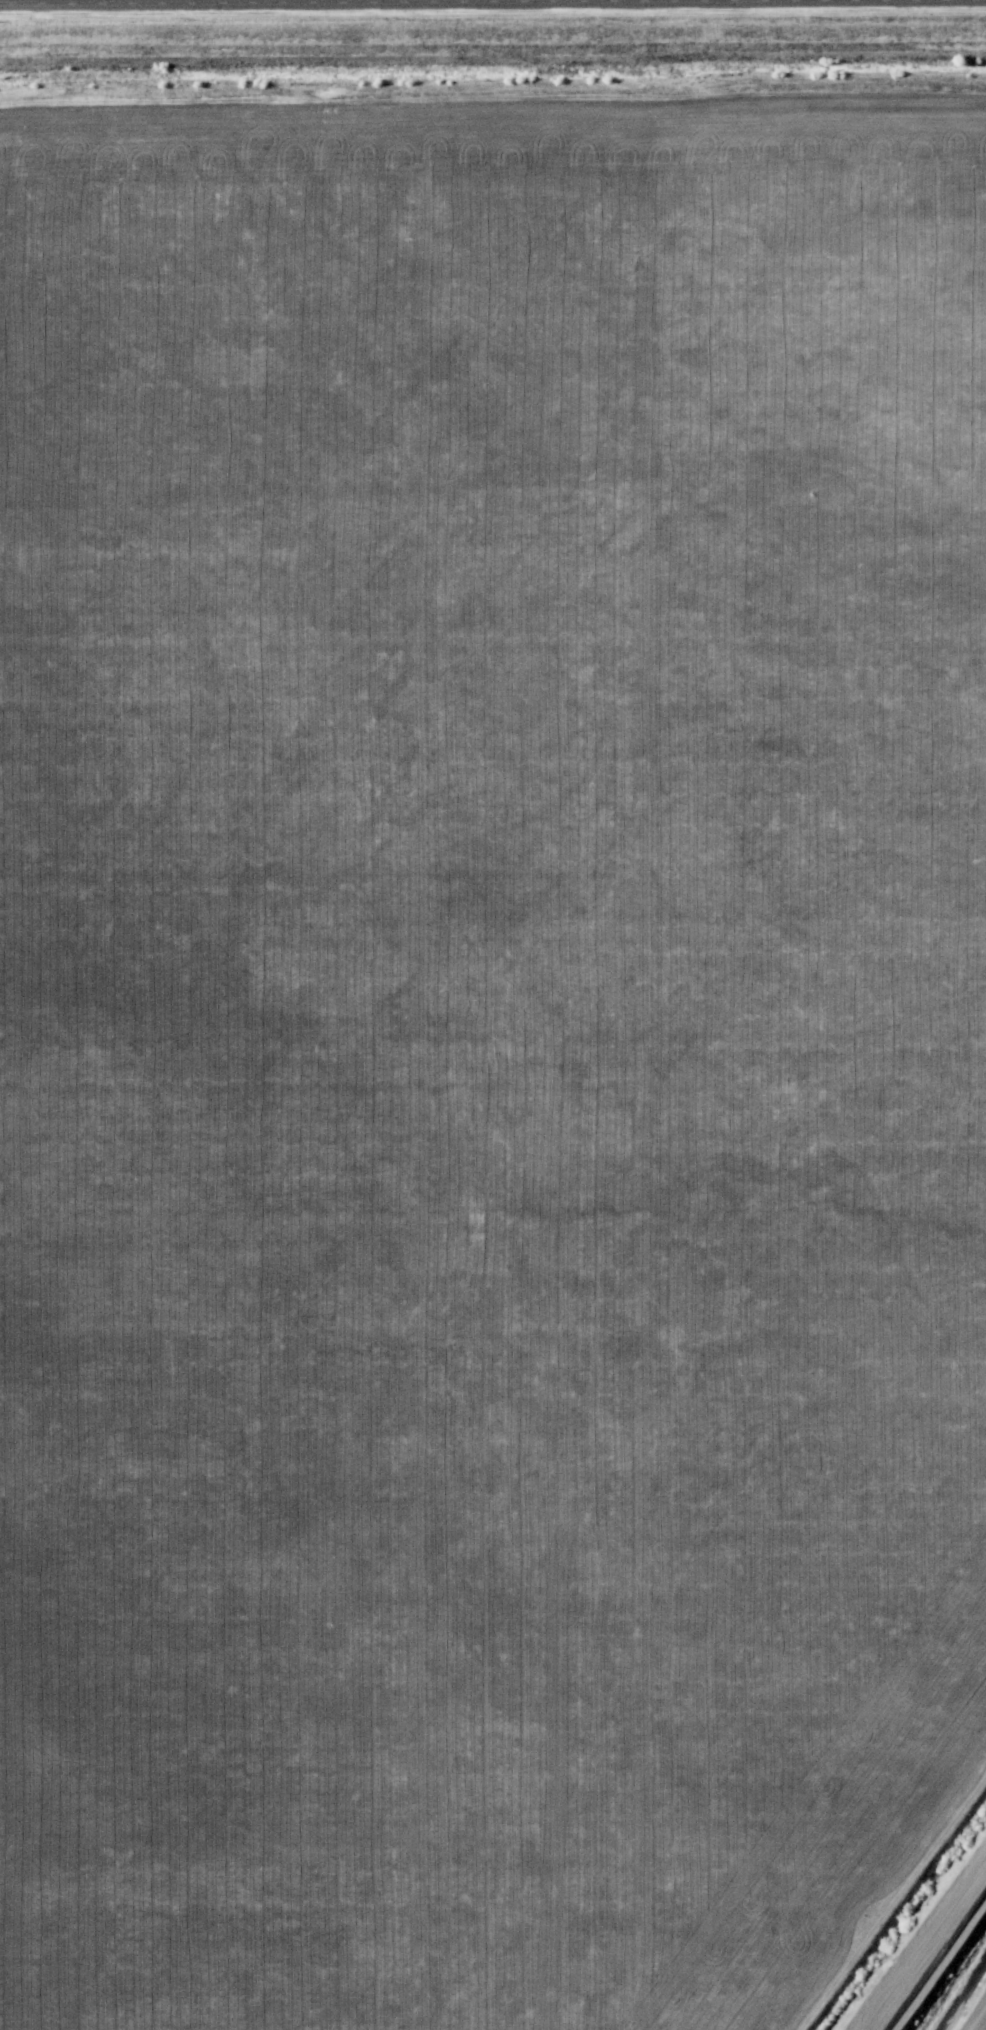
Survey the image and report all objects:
road: (493, 4)

